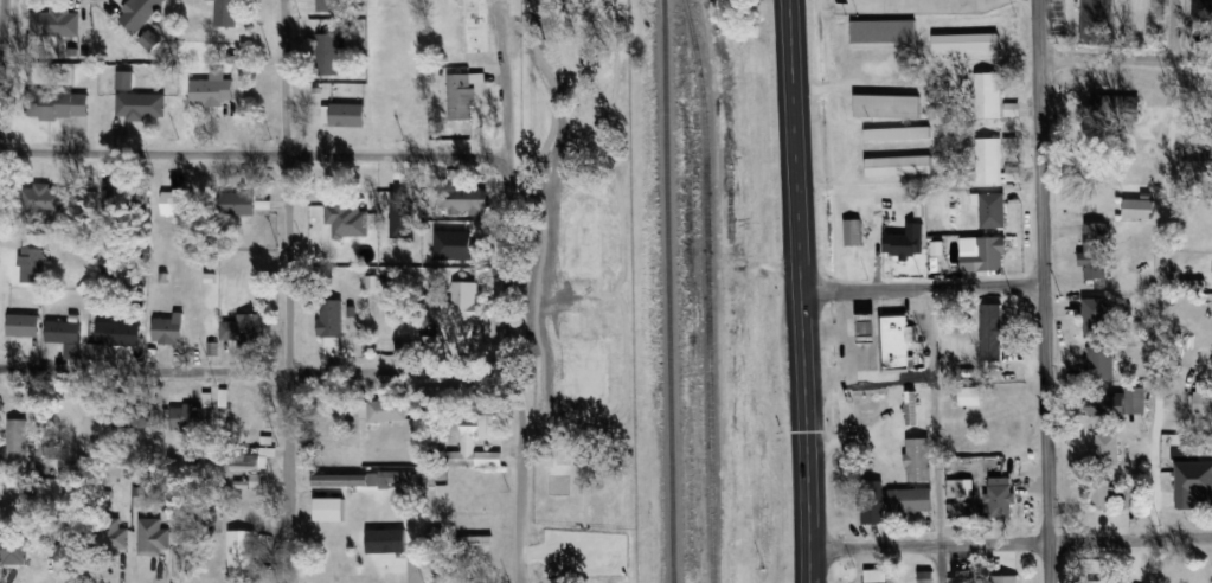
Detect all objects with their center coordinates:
building: (327, 5)
building: (1203, 9)
building: (140, 12)
building: (227, 13)
building: (1098, 19)
road: (1, 23)
building: (56, 23)
building: (475, 26)
building: (884, 31)
building: (328, 53)
road: (1122, 60)
building: (124, 79)
road: (508, 84)
building: (213, 90)
building: (461, 97)
building: (988, 97)
building: (1111, 101)
building: (63, 104)
building: (141, 105)
building: (886, 105)
building: (347, 115)
building: (897, 133)
building: (1149, 149)
road: (252, 155)
building: (1199, 159)
building: (987, 160)
building: (898, 165)
building: (467, 198)
building: (43, 199)
building: (179, 203)
building: (237, 203)
building: (992, 209)
building: (1139, 209)
building: (853, 232)
building: (908, 241)
building: (1096, 250)
building: (983, 254)
building: (33, 260)
road: (921, 289)
road: (288, 290)
railway: (668, 290)
road: (799, 290)
road: (1159, 290)
road: (1041, 291)
building: (464, 305)
building: (1097, 316)
building: (24, 325)
building: (331, 326)
building: (168, 328)
building: (251, 331)
building: (64, 332)
building: (992, 332)
building: (118, 334)
building: (890, 340)
building: (1101, 363)
road: (514, 370)
road: (257, 371)
building: (970, 396)
building: (1203, 398)
building: (1128, 402)
building: (911, 408)
building: (380, 412)
building: (132, 417)
building: (192, 417)
building: (477, 425)
road: (930, 435)
building: (15, 444)
building: (1109, 448)
building: (918, 459)
building: (249, 460)
building: (217, 461)
building: (341, 480)
building: (383, 480)
building: (1193, 485)
building: (999, 491)
building: (1102, 495)
building: (1134, 496)
building: (32, 498)
building: (911, 500)
building: (872, 508)
building: (329, 510)
building: (434, 532)
building: (116, 533)
building: (153, 537)
building: (190, 539)
building: (386, 542)
road: (1011, 545)
building: (242, 549)
building: (13, 551)
building: (1184, 574)
building: (878, 576)
building: (1005, 578)
building: (962, 579)
building: (1105, 582)

